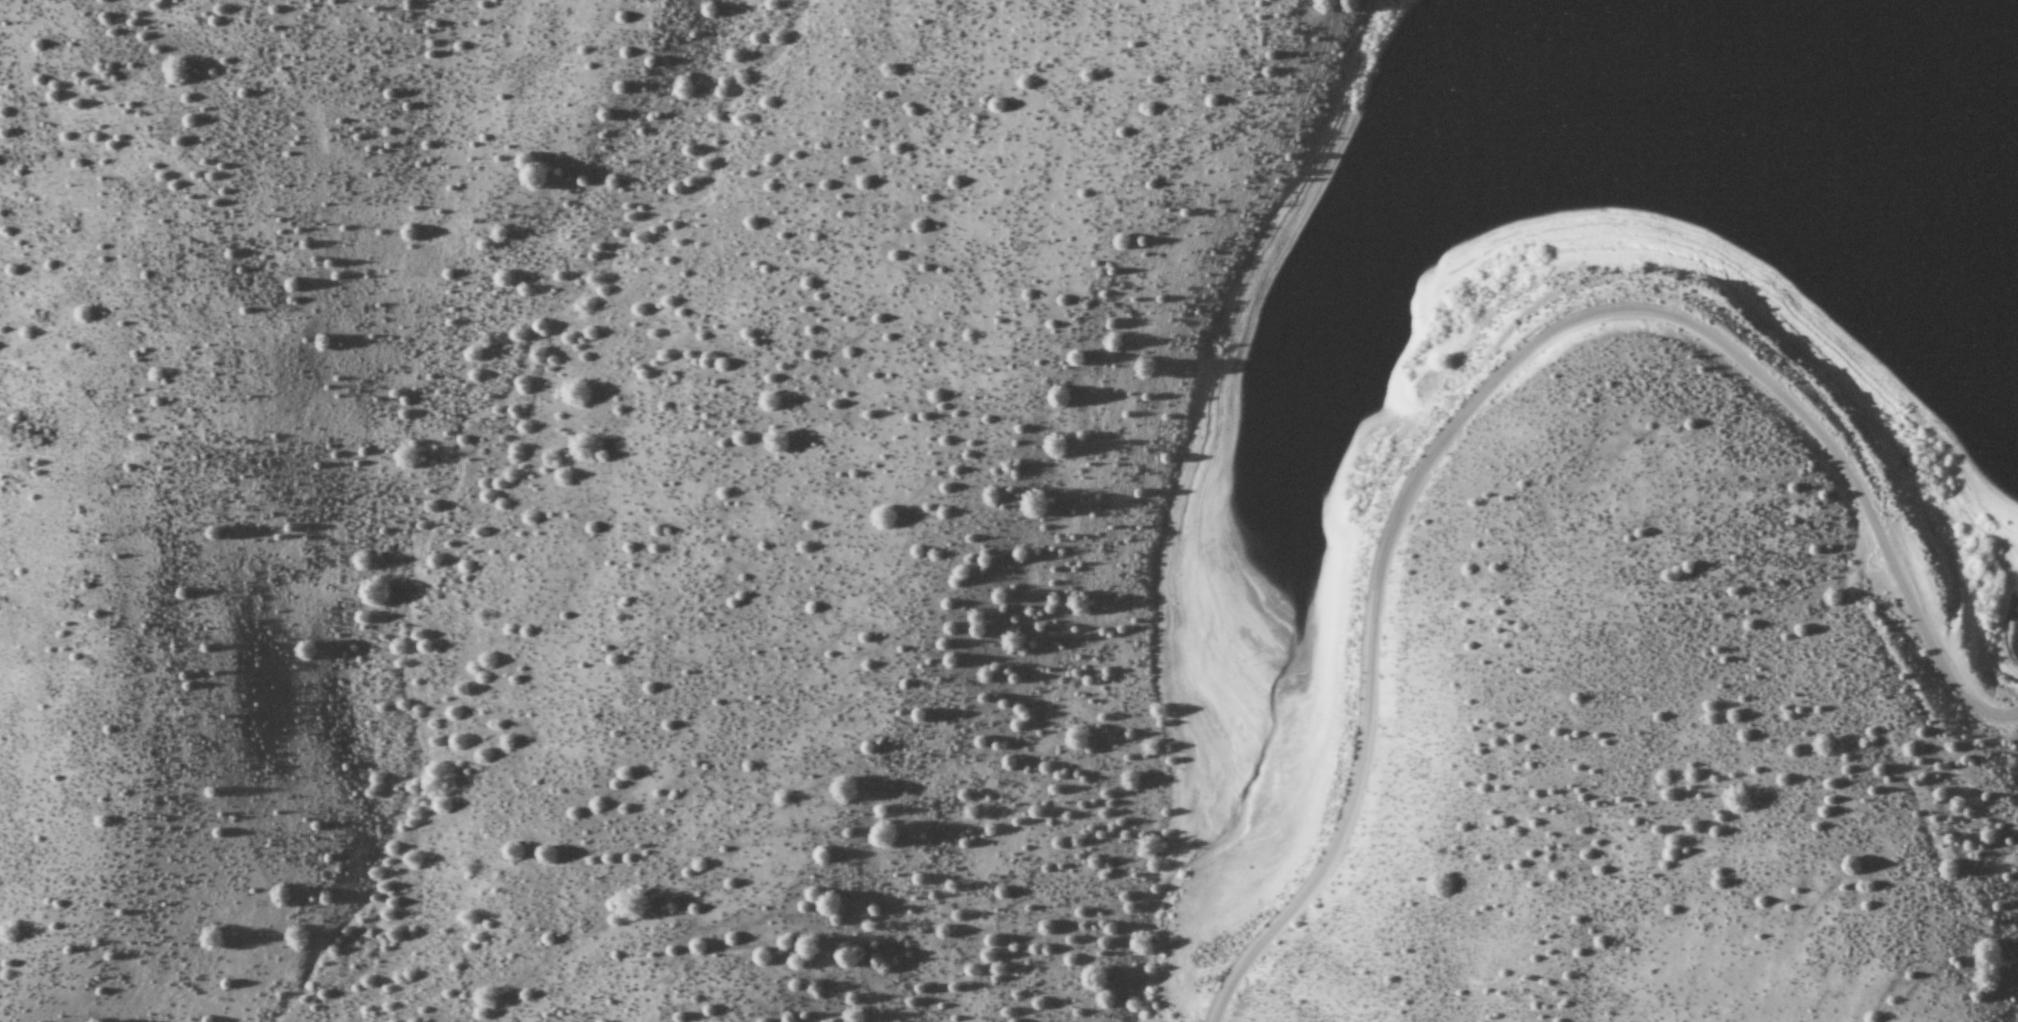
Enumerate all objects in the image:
road: (1503, 362)
river: (2009, 603)

